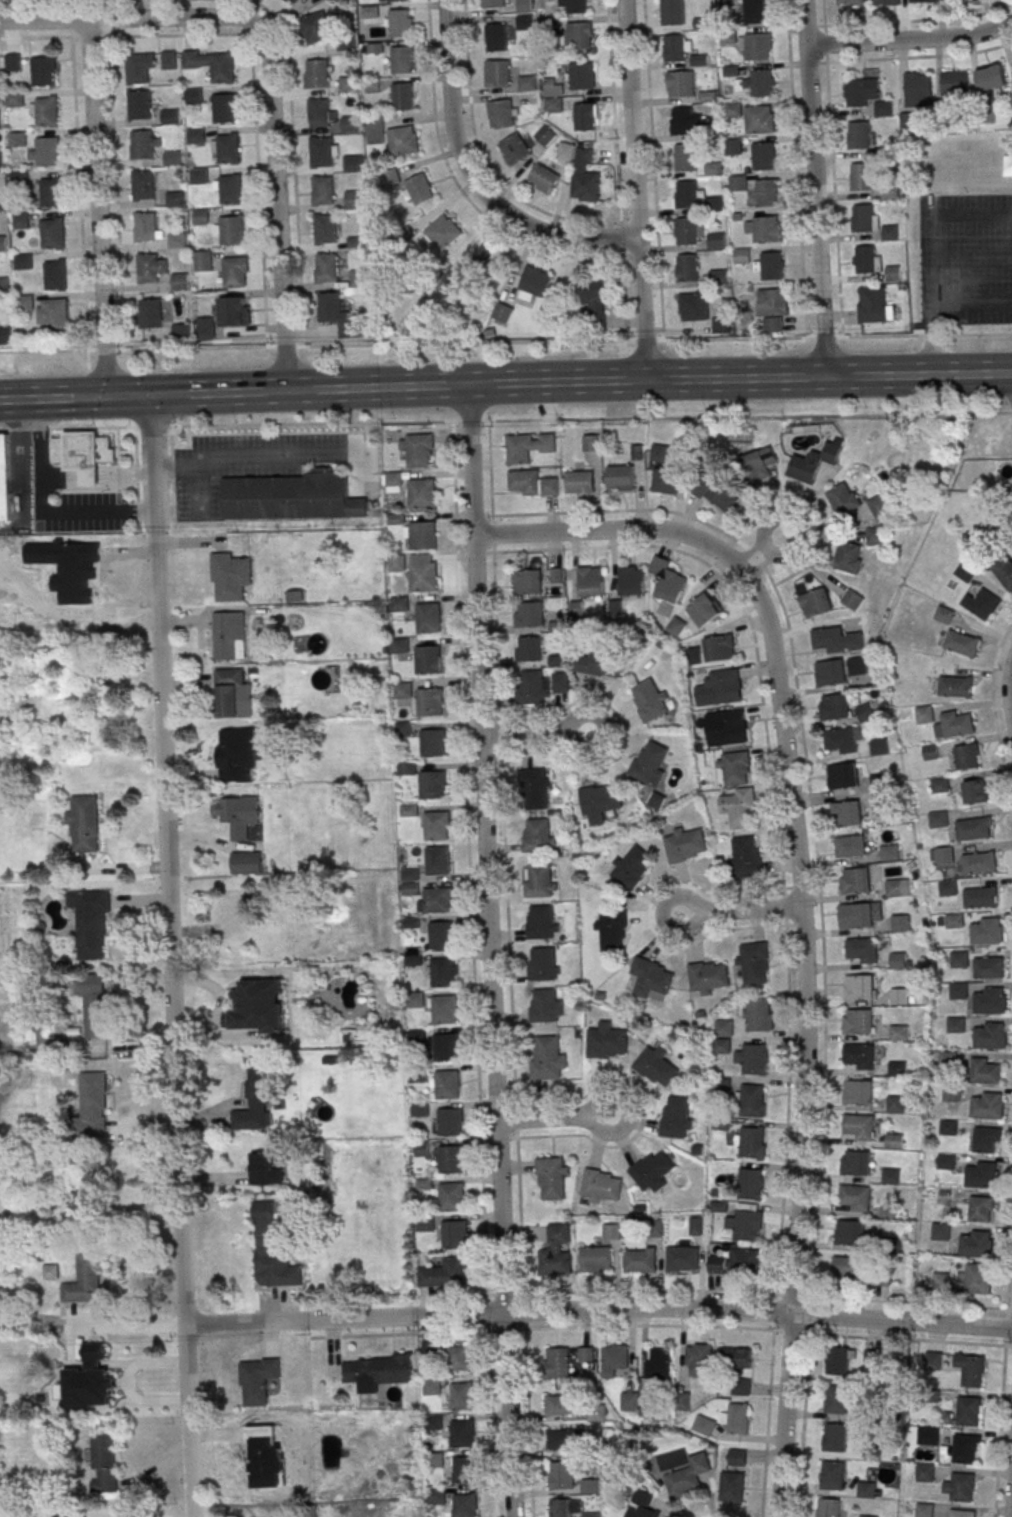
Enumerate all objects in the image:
building: (393, 0)
building: (927, 1)
building: (290, 2)
building: (850, 2)
building: (886, 2)
building: (492, 3)
building: (726, 3)
building: (574, 6)
building: (369, 11)
building: (754, 11)
building: (672, 12)
road: (131, 19)
building: (399, 22)
building: (525, 22)
building: (314, 27)
building: (580, 35)
building: (496, 37)
road: (909, 38)
building: (346, 45)
building: (755, 46)
building: (374, 47)
building: (674, 47)
road: (919, 56)
building: (167, 59)
building: (402, 59)
building: (1011, 61)
building: (12, 62)
building: (221, 67)
building: (136, 69)
building: (42, 71)
building: (497, 73)
building: (317, 74)
building: (581, 76)
building: (992, 77)
building: (527, 82)
building: (761, 82)
building: (680, 83)
building: (955, 83)
building: (347, 84)
building: (372, 85)
road: (827, 85)
building: (919, 89)
building: (861, 91)
building: (193, 96)
building: (402, 96)
building: (552, 96)
building: (14, 99)
building: (138, 104)
building: (223, 109)
building: (43, 110)
building: (733, 110)
building: (318, 112)
building: (502, 113)
building: (169, 116)
building: (584, 116)
building: (755, 119)
building: (681, 120)
building: (349, 123)
building: (374, 129)
building: (858, 134)
building: (544, 135)
building: (195, 136)
building: (16, 139)
building: (403, 140)
building: (142, 145)
building: (733, 147)
building: (227, 148)
building: (514, 149)
building: (47, 151)
building: (321, 151)
building: (762, 155)
building: (0, 157)
building: (684, 157)
building: (351, 162)
building: (580, 172)
building: (197, 175)
building: (861, 175)
building: (18, 178)
building: (543, 178)
road: (472, 179)
building: (736, 183)
building: (142, 185)
road: (813, 188)
building: (230, 189)
building: (322, 189)
road: (634, 189)
building: (417, 190)
building: (52, 192)
building: (765, 192)
building: (685, 194)
building: (174, 198)
building: (353, 199)
building: (1, 201)
building: (713, 204)
road: (96, 208)
road: (275, 210)
building: (200, 216)
road: (569, 218)
building: (863, 218)
building: (20, 220)
building: (145, 226)
building: (323, 228)
building: (765, 229)
building: (231, 230)
building: (685, 230)
building: (52, 233)
building: (441, 233)
building: (891, 233)
road: (928, 237)
building: (176, 240)
building: (714, 240)
building: (740, 256)
building: (488, 257)
building: (865, 259)
parking lot: (965, 259)
building: (202, 260)
building: (22, 261)
building: (770, 265)
building: (327, 267)
building: (685, 267)
building: (147, 268)
building: (233, 272)
building: (894, 273)
building: (55, 275)
building: (451, 276)
building: (358, 278)
building: (179, 280)
building: (533, 283)
road: (928, 283)
building: (592, 298)
building: (24, 302)
building: (767, 302)
building: (873, 304)
building: (694, 306)
building: (330, 307)
road: (940, 309)
building: (230, 311)
building: (55, 313)
building: (501, 313)
building: (151, 314)
building: (720, 324)
building: (204, 328)
building: (181, 332)
building: (6, 335)
road: (533, 341)
road: (150, 348)
road: (636, 380)
road: (194, 394)
traffic signals: (128, 397)
road: (63, 398)
road: (505, 420)
building: (590, 442)
building: (528, 446)
building: (417, 449)
road: (242, 455)
building: (87, 458)
building: (814, 461)
parking lot: (243, 464)
building: (759, 464)
road: (22, 477)
building: (620, 477)
building: (5, 478)
building: (393, 479)
building: (664, 480)
building: (580, 482)
building: (532, 483)
building: (421, 493)
building: (717, 493)
building: (290, 497)
building: (843, 499)
building: (879, 506)
road: (42, 513)
building: (422, 535)
building: (874, 536)
road: (763, 550)
building: (848, 557)
building: (397, 563)
building: (79, 570)
building: (1003, 571)
building: (423, 572)
building: (964, 572)
building: (231, 575)
building: (556, 575)
building: (666, 579)
building: (631, 580)
building: (528, 581)
building: (591, 581)
building: (852, 599)
building: (815, 602)
building: (399, 603)
building: (979, 603)
building: (705, 610)
building: (529, 614)
building: (943, 614)
building: (428, 617)
building: (675, 626)
building: (229, 635)
building: (837, 640)
building: (961, 643)
building: (528, 648)
building: (719, 648)
building: (429, 659)
building: (600, 664)
building: (856, 666)
building: (829, 673)
building: (561, 682)
building: (726, 684)
building: (954, 686)
building: (531, 687)
road: (1009, 687)
building: (403, 689)
building: (229, 692)
building: (651, 699)
building: (431, 701)
building: (833, 707)
building: (923, 714)
building: (955, 723)
building: (731, 725)
road: (995, 729)
road: (536, 732)
building: (842, 740)
building: (433, 742)
building: (878, 746)
building: (965, 756)
building: (235, 758)
building: (649, 762)
building: (737, 767)
building: (842, 775)
building: (433, 784)
building: (938, 784)
building: (536, 789)
building: (973, 792)
building: (600, 802)
building: (739, 806)
building: (845, 813)
building: (239, 814)
building: (937, 819)
building: (84, 823)
building: (437, 824)
building: (972, 828)
building: (538, 834)
building: (685, 844)
building: (849, 846)
building: (888, 853)
building: (940, 855)
road: (470, 857)
road: (506, 857)
building: (746, 857)
building: (438, 860)
building: (246, 862)
building: (977, 862)
building: (632, 866)
building: (540, 880)
building: (854, 880)
building: (894, 887)
building: (946, 888)
building: (427, 893)
building: (979, 897)
road: (802, 899)
road: (742, 910)
building: (234, 913)
building: (857, 915)
building: (542, 921)
building: (91, 922)
building: (900, 923)
building: (985, 930)
building: (611, 931)
building: (441, 934)
road: (492, 950)
building: (860, 950)
road: (170, 956)
building: (958, 959)
building: (897, 960)
building: (543, 963)
building: (754, 963)
building: (987, 967)
building: (444, 971)
building: (709, 977)
building: (652, 979)
building: (860, 987)
building: (957, 990)
building: (899, 996)
building: (988, 1000)
building: (545, 1004)
building: (94, 1006)
building: (258, 1006)
building: (444, 1008)
building: (757, 1014)
building: (857, 1021)
building: (954, 1024)
building: (898, 1032)
building: (722, 1035)
building: (988, 1035)
building: (607, 1041)
building: (445, 1046)
building: (857, 1056)
building: (548, 1057)
building: (751, 1058)
building: (947, 1059)
building: (656, 1066)
building: (897, 1069)
building: (984, 1071)
building: (447, 1084)
building: (857, 1092)
building: (750, 1100)
building: (255, 1101)
building: (895, 1103)
building: (93, 1104)
building: (986, 1105)
road: (553, 1118)
building: (677, 1118)
building: (450, 1121)
building: (857, 1127)
building: (986, 1139)
building: (894, 1141)
building: (751, 1142)
building: (451, 1158)
building: (945, 1161)
building: (855, 1162)
building: (266, 1168)
building: (653, 1171)
building: (981, 1174)
building: (553, 1178)
building: (750, 1184)
building: (602, 1186)
building: (452, 1196)
building: (943, 1196)
building: (853, 1198)
building: (981, 1208)
building: (425, 1223)
building: (743, 1224)
building: (611, 1231)
building: (940, 1231)
building: (849, 1232)
building: (454, 1234)
building: (975, 1244)
building: (272, 1250)
building: (556, 1251)
building: (595, 1258)
building: (681, 1258)
building: (640, 1259)
building: (743, 1260)
building: (716, 1264)
building: (846, 1268)
building: (50, 1272)
building: (446, 1273)
road: (1009, 1275)
building: (85, 1278)
building: (978, 1278)
road: (715, 1290)
road: (531, 1312)
building: (586, 1354)
building: (459, 1358)
building: (735, 1358)
building: (874, 1358)
building: (613, 1359)
building: (934, 1359)
building: (698, 1360)
building: (839, 1360)
building: (558, 1362)
building: (657, 1363)
building: (970, 1369)
building: (377, 1371)
building: (257, 1380)
building: (742, 1387)
building: (84, 1389)
building: (463, 1395)
building: (836, 1399)
building: (632, 1401)
building: (562, 1404)
building: (969, 1410)
building: (873, 1412)
building: (596, 1414)
building: (736, 1418)
building: (433, 1423)
building: (703, 1425)
road: (999, 1427)
building: (463, 1433)
building: (928, 1435)
building: (836, 1436)
building: (563, 1438)
building: (965, 1447)
building: (265, 1452)
building: (872, 1452)
building: (735, 1458)
building: (104, 1463)
building: (466, 1469)
building: (925, 1473)
building: (833, 1474)
building: (564, 1475)
building: (688, 1476)
building: (590, 1486)
building: (960, 1486)
building: (731, 1487)
building: (867, 1489)
building: (436, 1496)
building: (466, 1505)
building: (642, 1505)
building: (565, 1507)
building: (829, 1507)
building: (924, 1509)
building: (962, 1513)
building: (591, 1514)
road: (1011, 1515)
building: (865, 1516)

